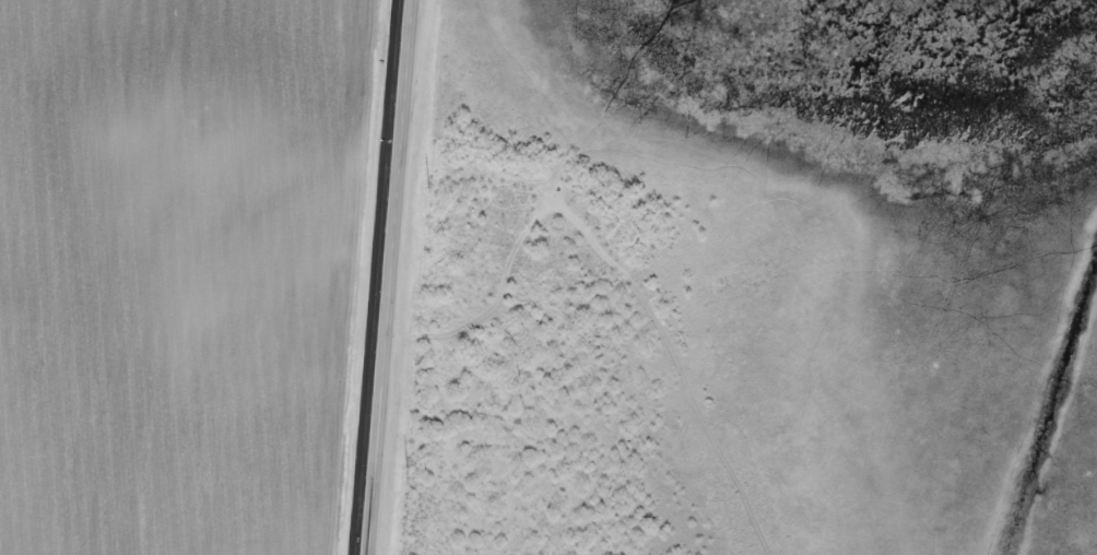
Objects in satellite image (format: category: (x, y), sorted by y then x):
road: (388, 276)

